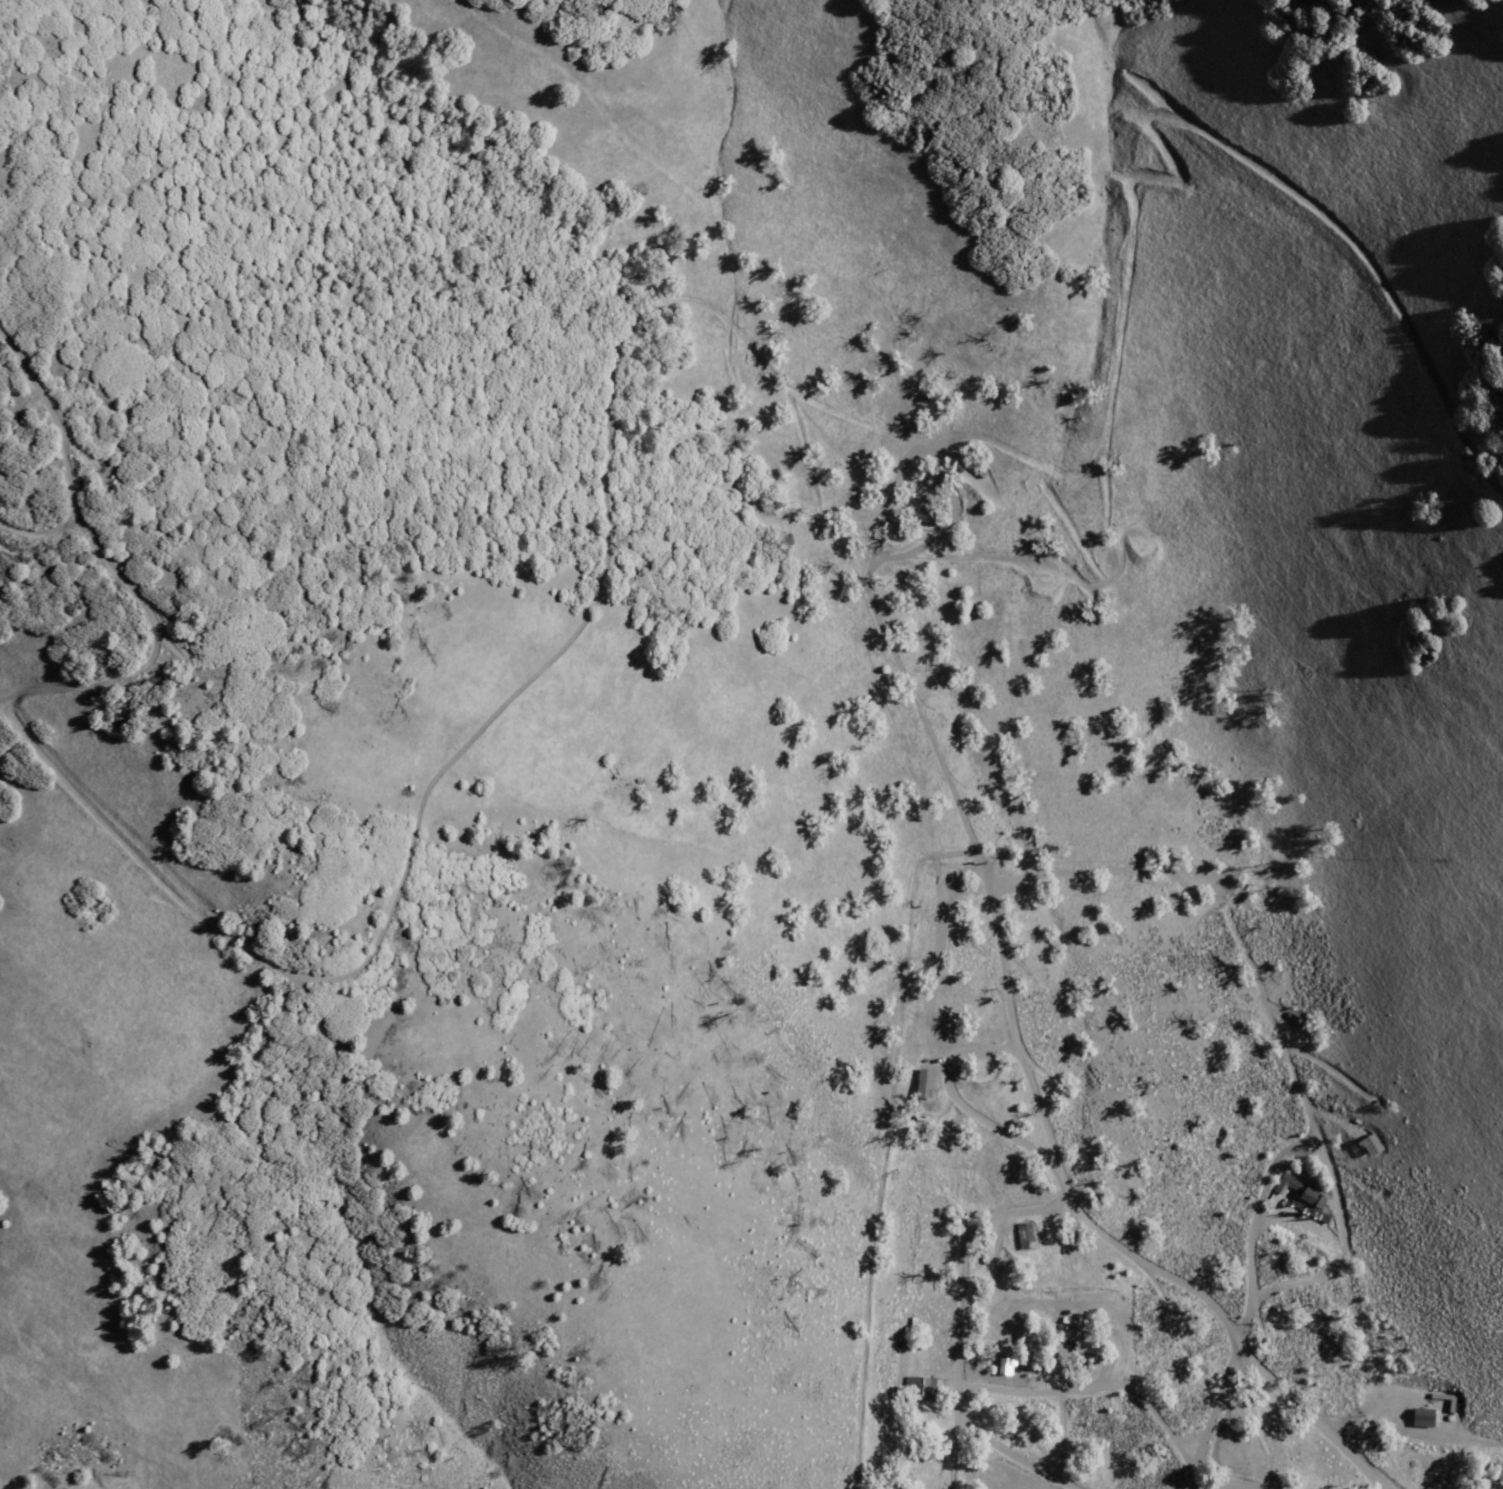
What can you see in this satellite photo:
road: (929, 1006)
road: (1286, 1066)
building: (923, 1081)
building: (1286, 1185)
building: (1023, 1237)
road: (1052, 1248)
building: (1082, 1350)
building: (921, 1388)
road: (1144, 1403)
building: (1421, 1419)
road: (1216, 1485)

